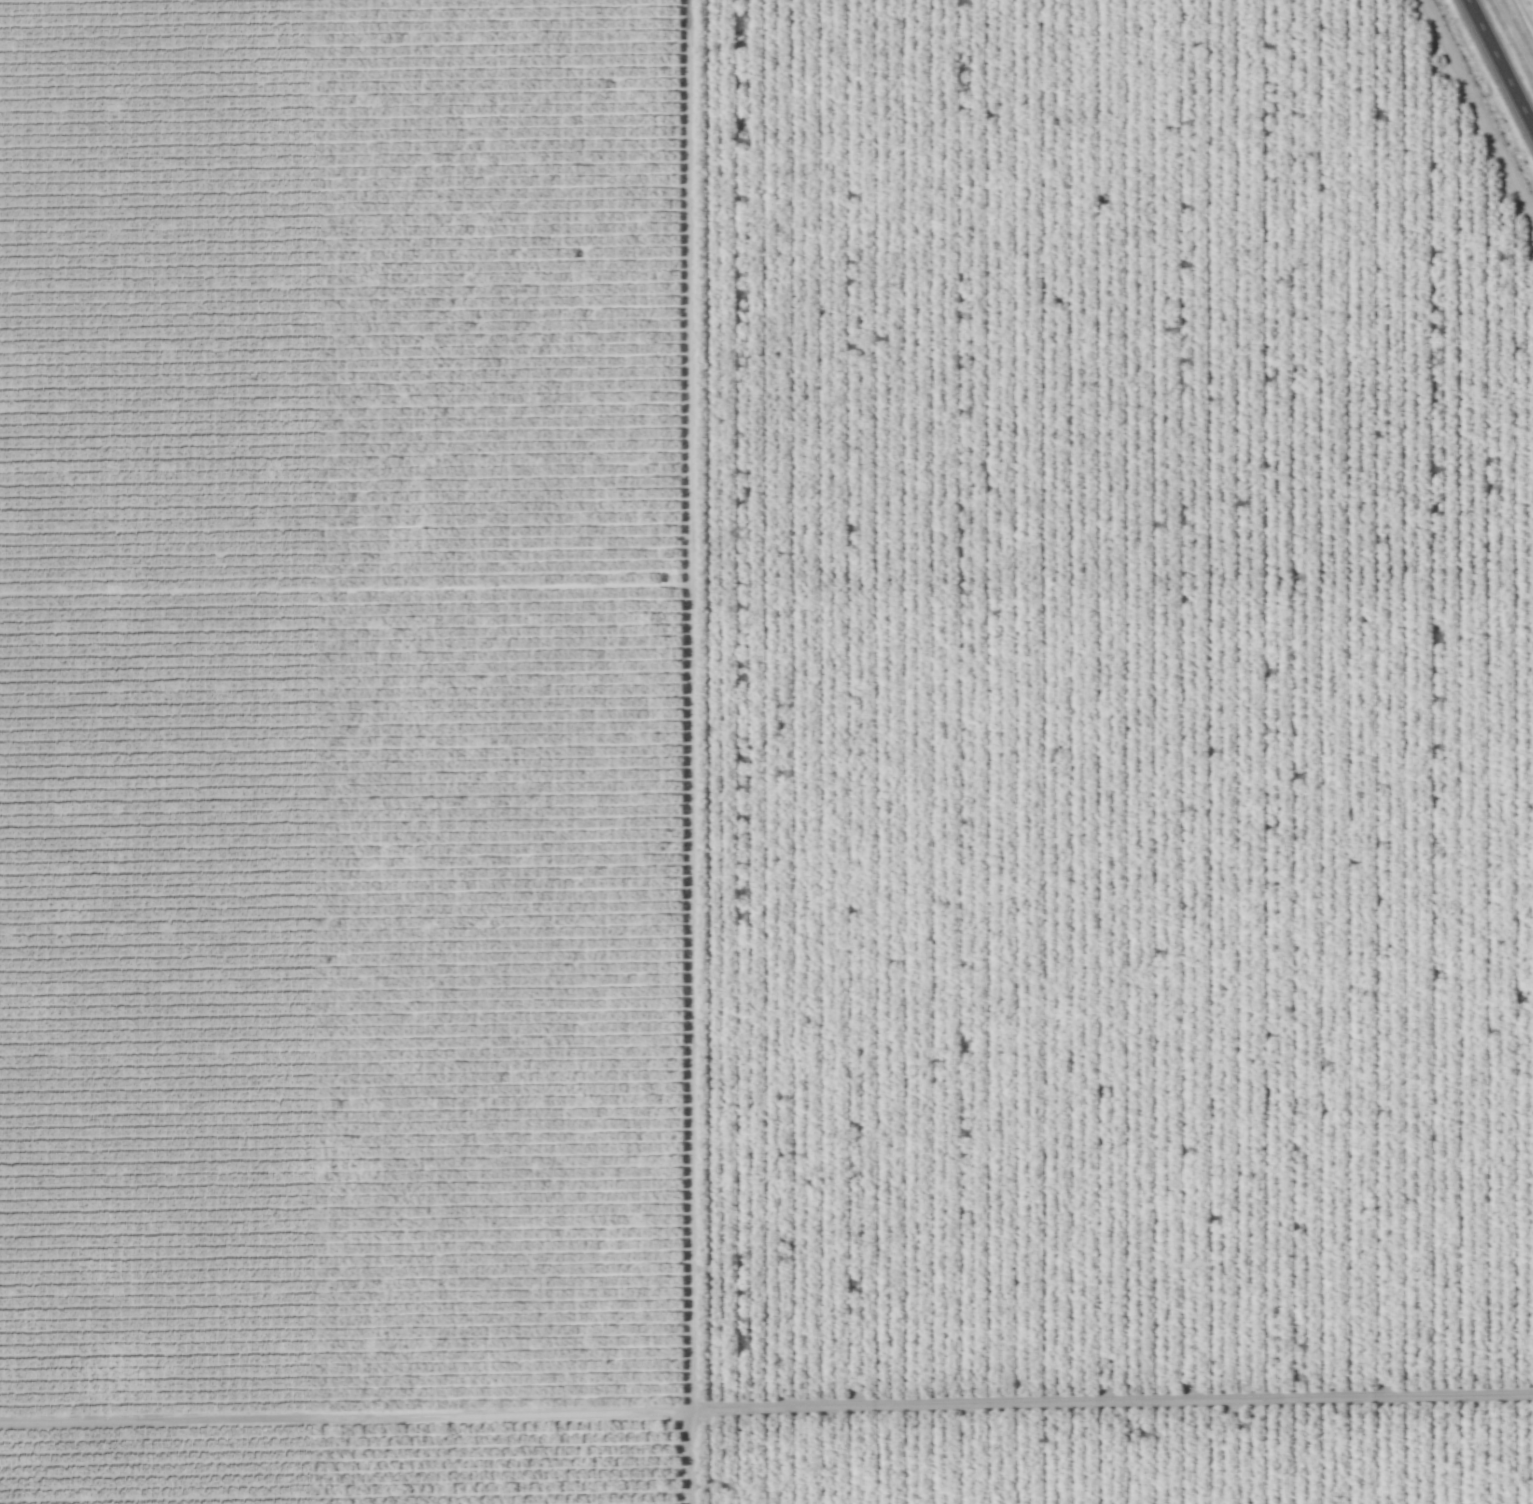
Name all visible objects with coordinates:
road: (1497, 69)

